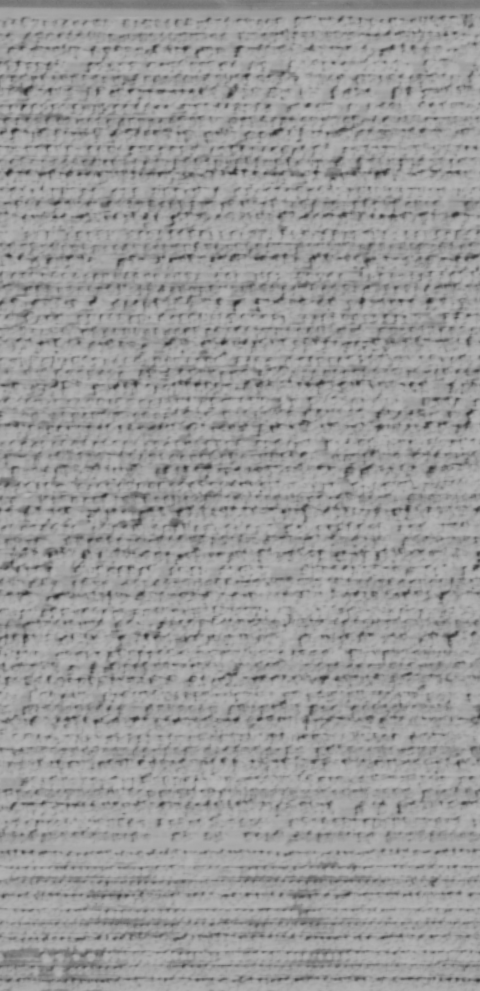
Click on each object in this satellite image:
road: (57, 0)
crop: (240, 495)

